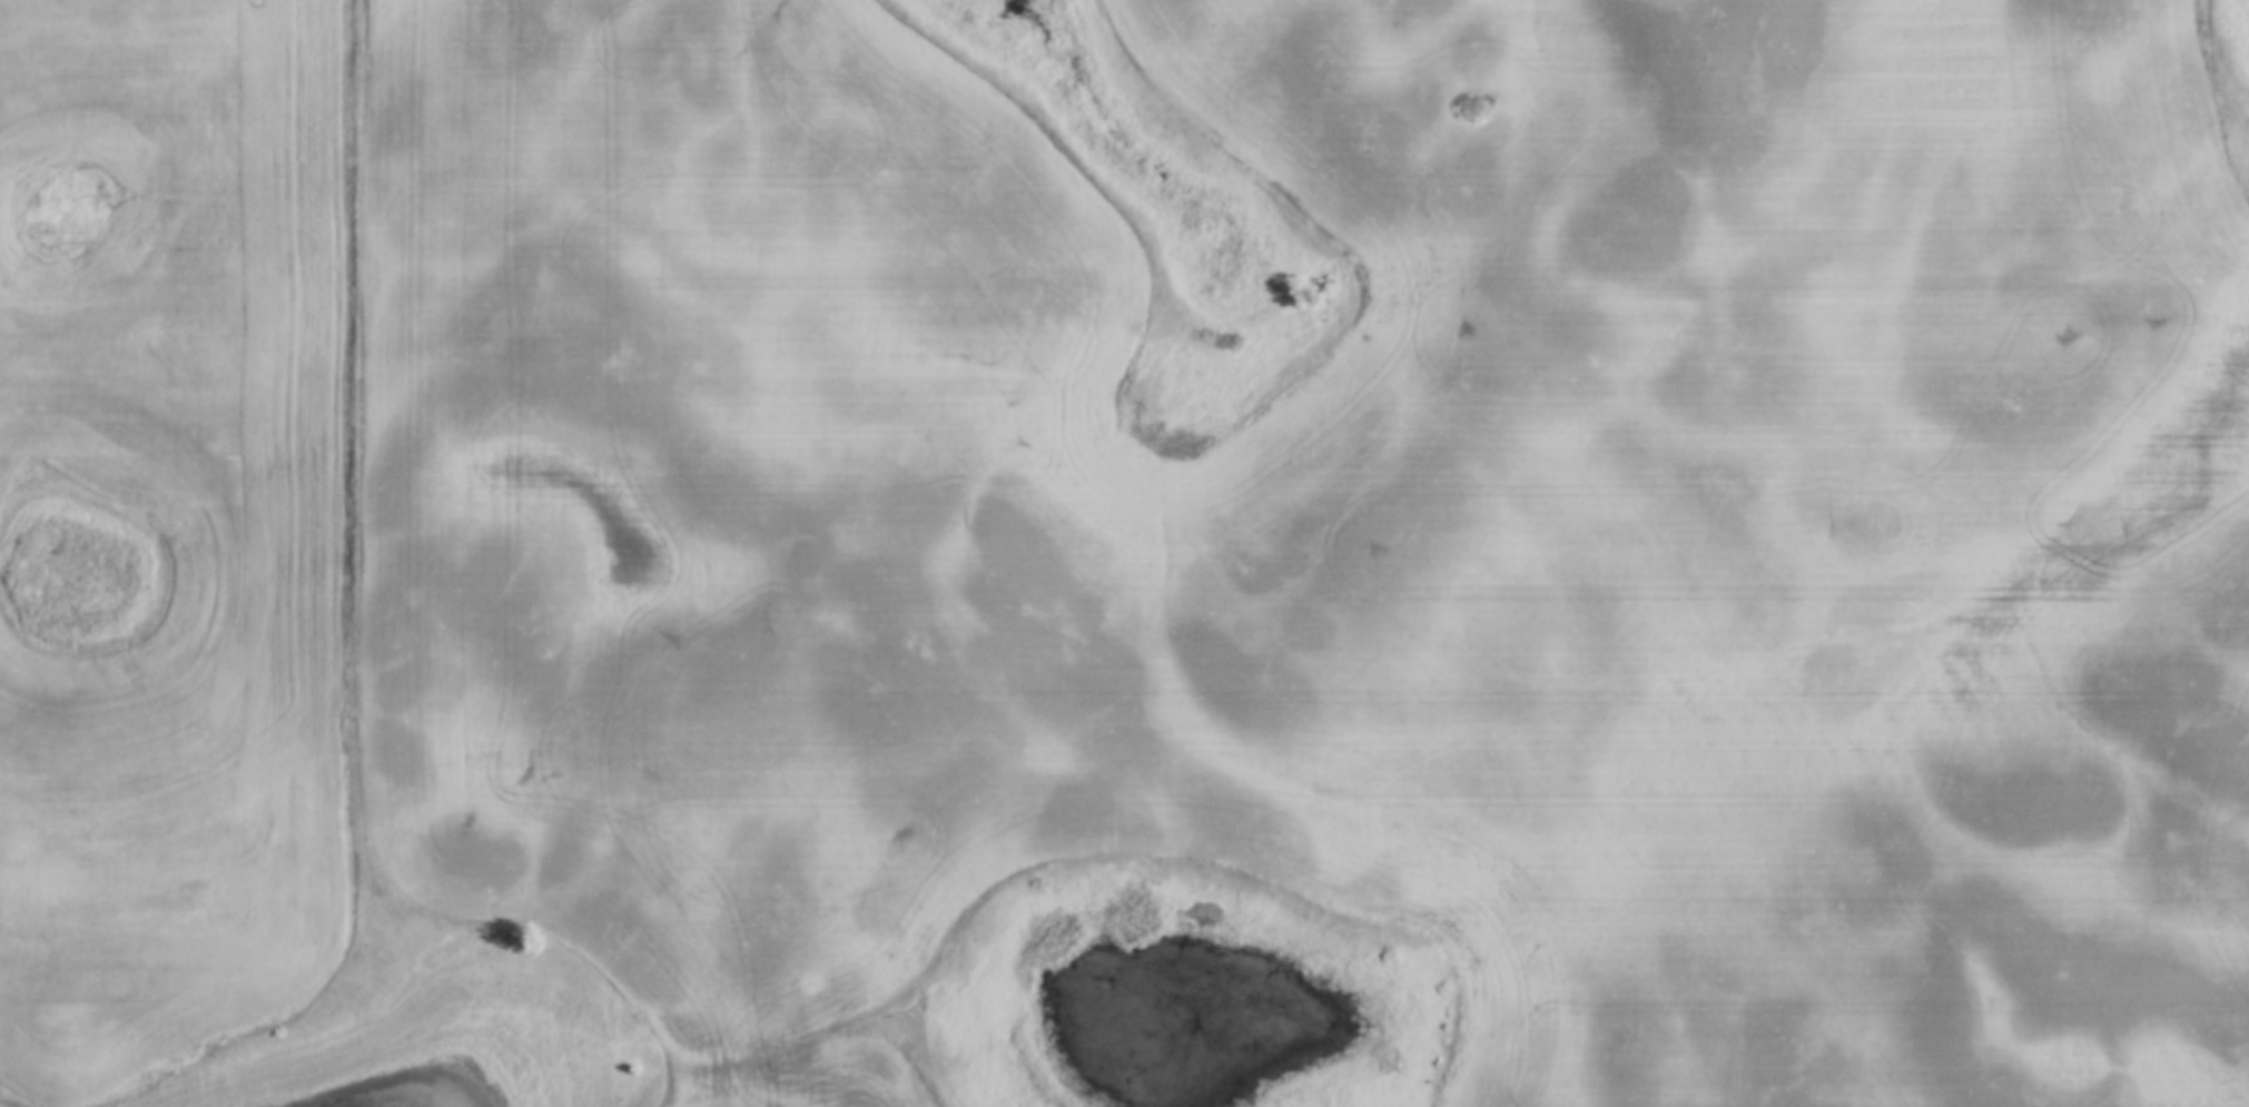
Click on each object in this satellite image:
wind turbine: (1858, 502)

